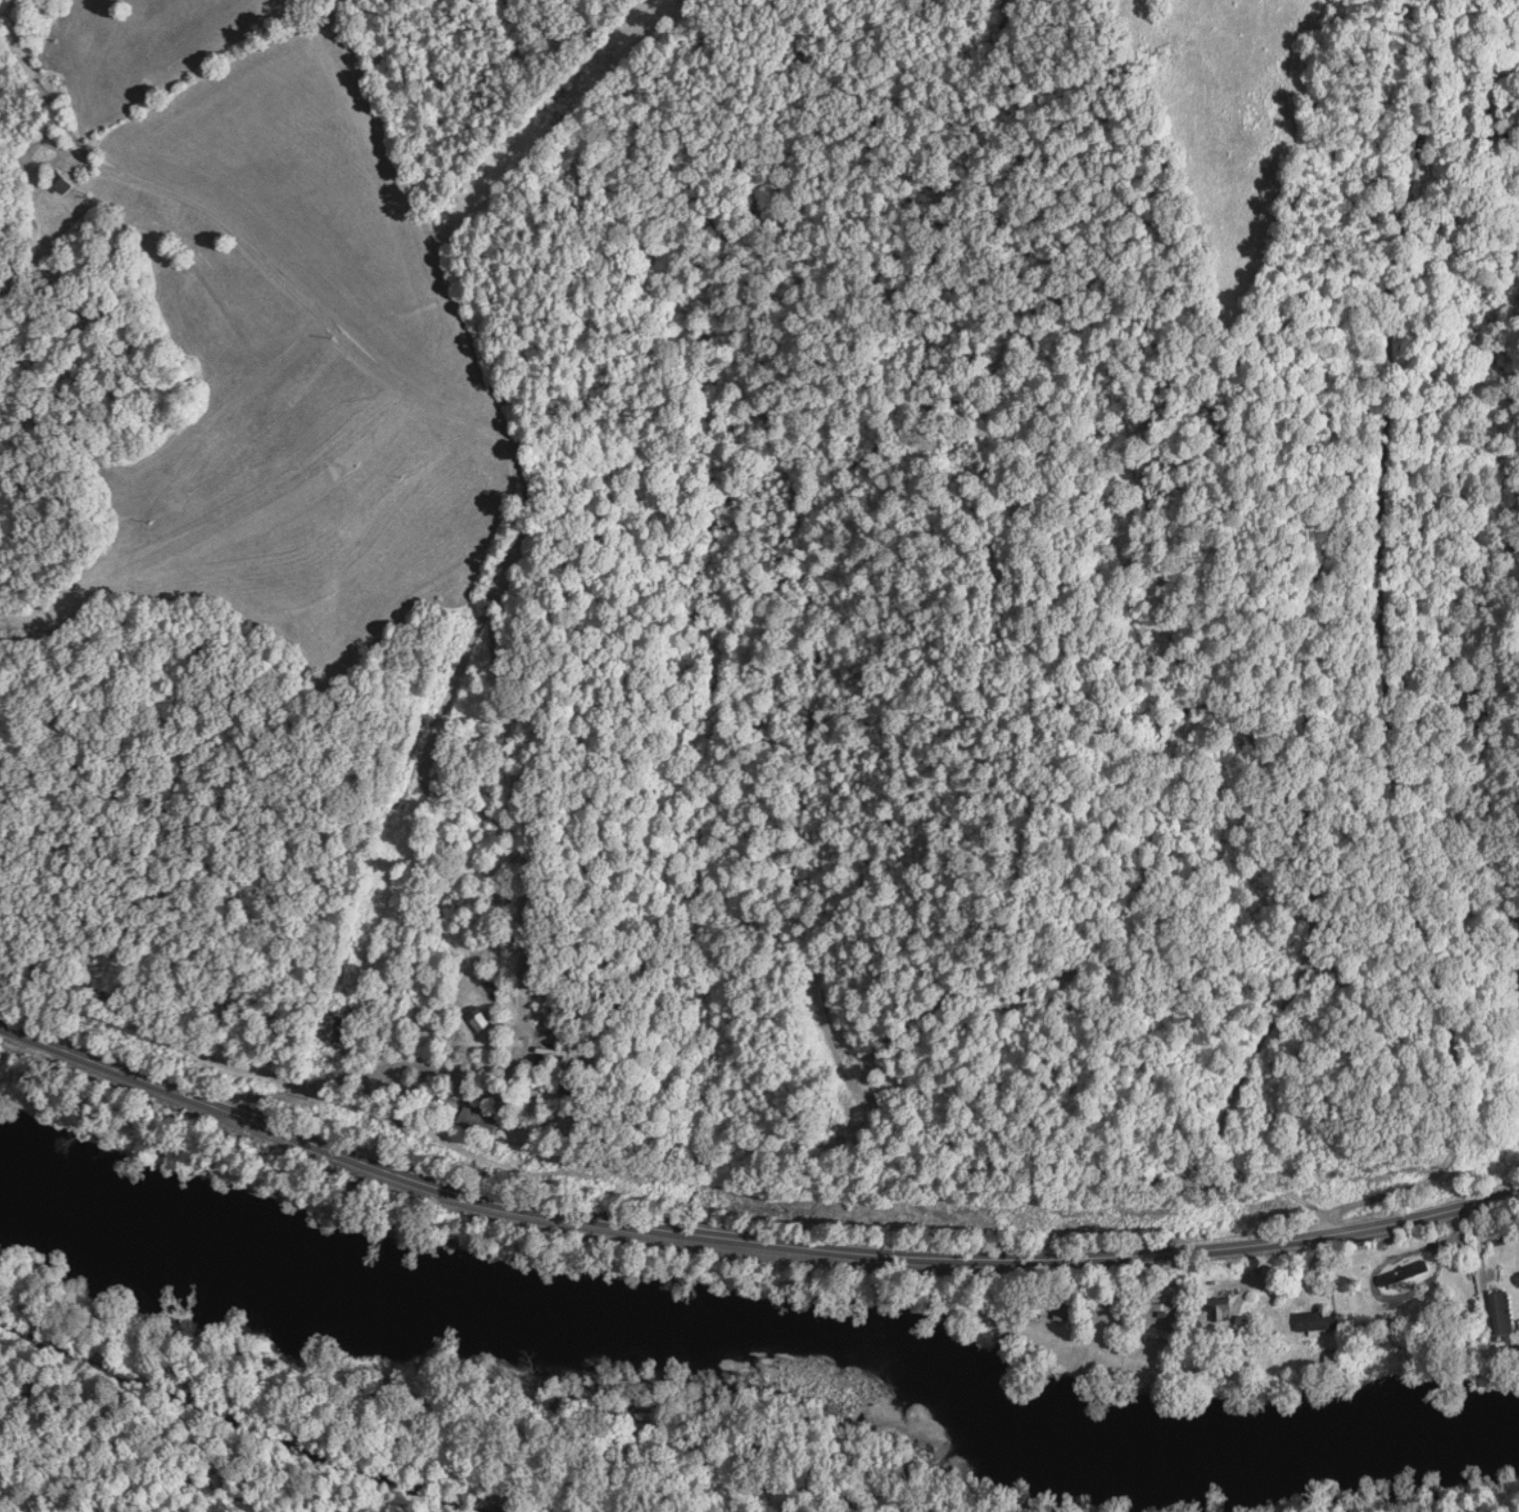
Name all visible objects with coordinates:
building: (56, 180)
road: (500, 521)
building: (476, 1017)
building: (547, 1051)
building: (476, 1121)
road: (746, 1238)
building: (1061, 1310)
building: (1500, 1311)
building: (1315, 1319)
river: (784, 1332)
road: (289, 1433)
road: (289, 1433)

